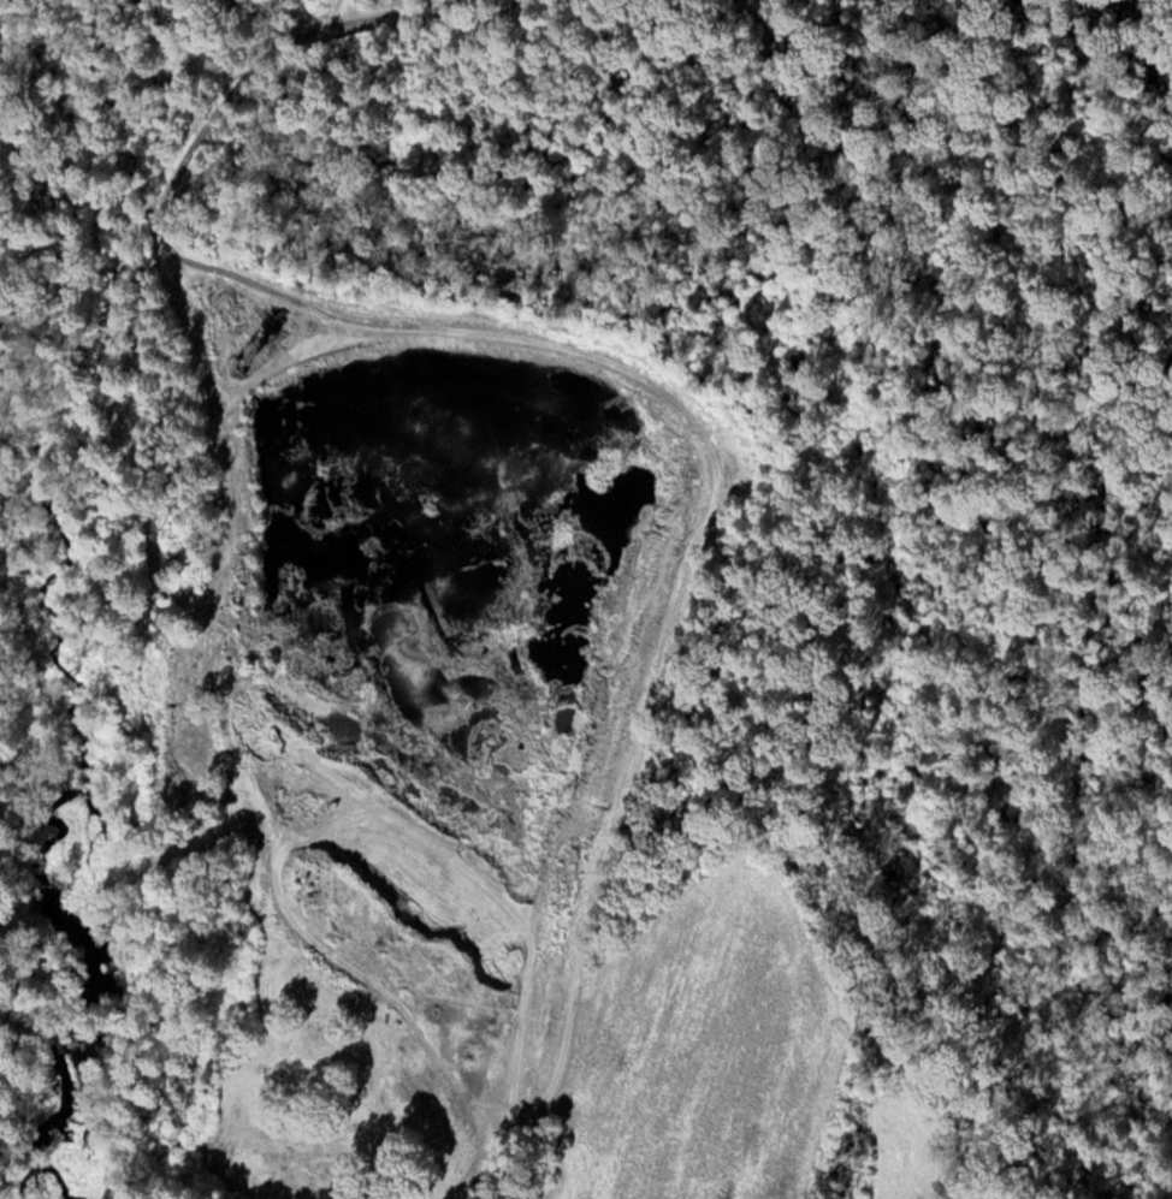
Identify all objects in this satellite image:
building: (307, 884)
building: (316, 1031)
road: (487, 1057)

